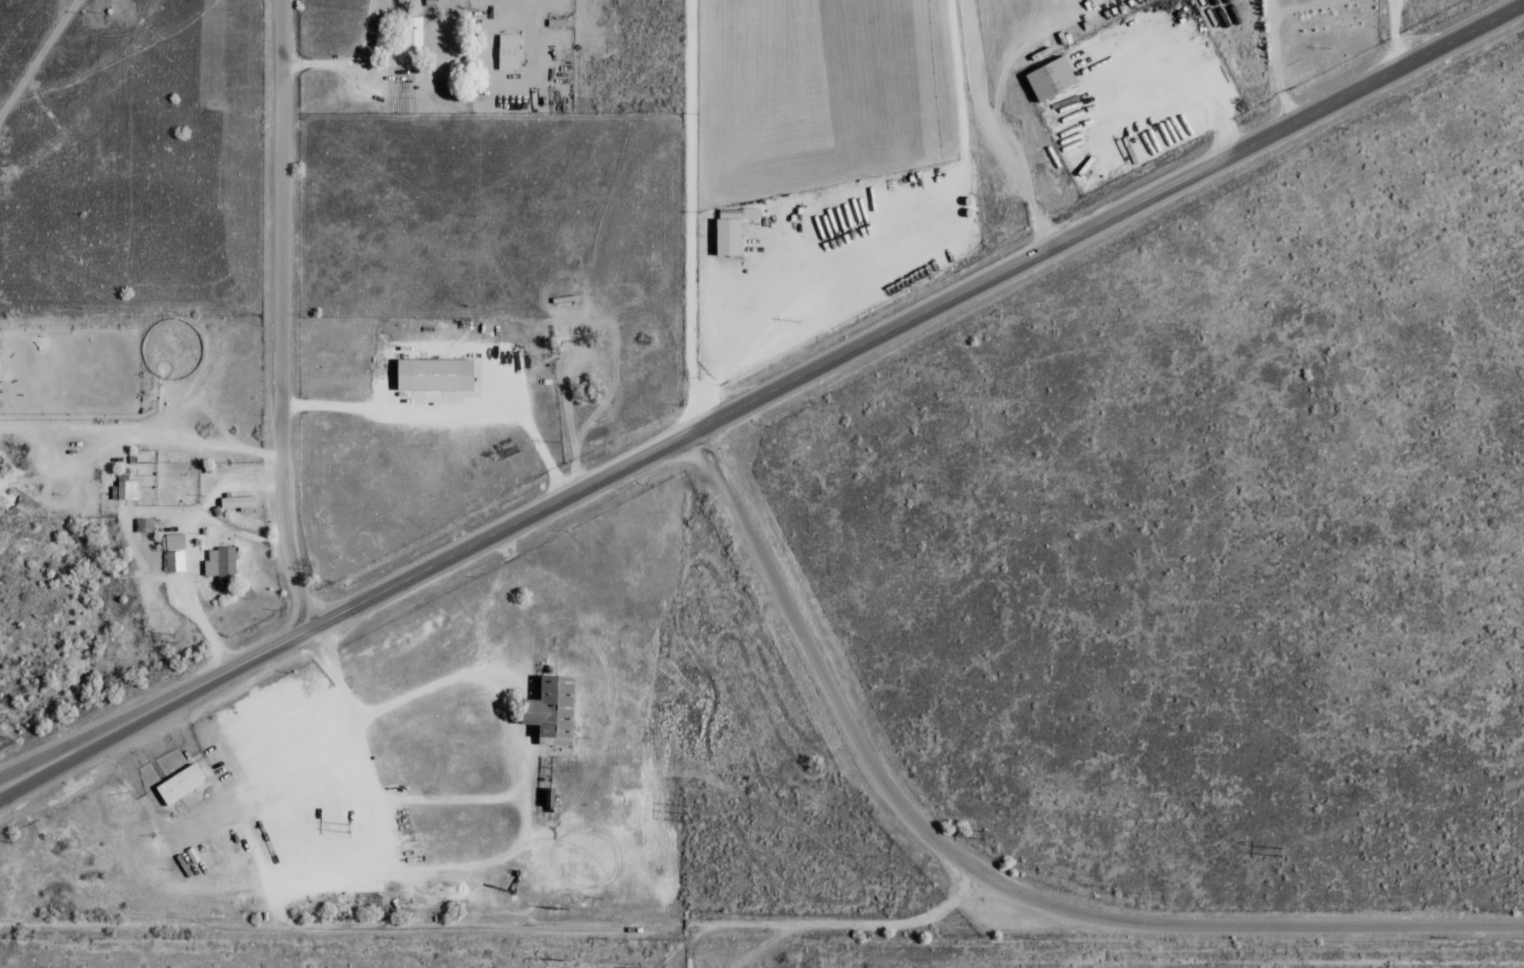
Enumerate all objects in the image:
building: (560, 23)
building: (411, 38)
building: (507, 53)
building: (1049, 79)
road: (694, 214)
building: (730, 214)
building: (727, 237)
road: (286, 315)
road: (839, 356)
building: (432, 374)
building: (126, 491)
building: (236, 502)
building: (143, 525)
building: (173, 542)
building: (174, 561)
building: (220, 565)
power tower: (177, 638)
road: (821, 668)
road: (76, 741)
road: (79, 757)
building: (179, 784)
power tower: (684, 812)
power tower: (348, 828)
power tower: (983, 834)
power tower: (11, 837)
power tower: (1281, 851)
road: (774, 924)

